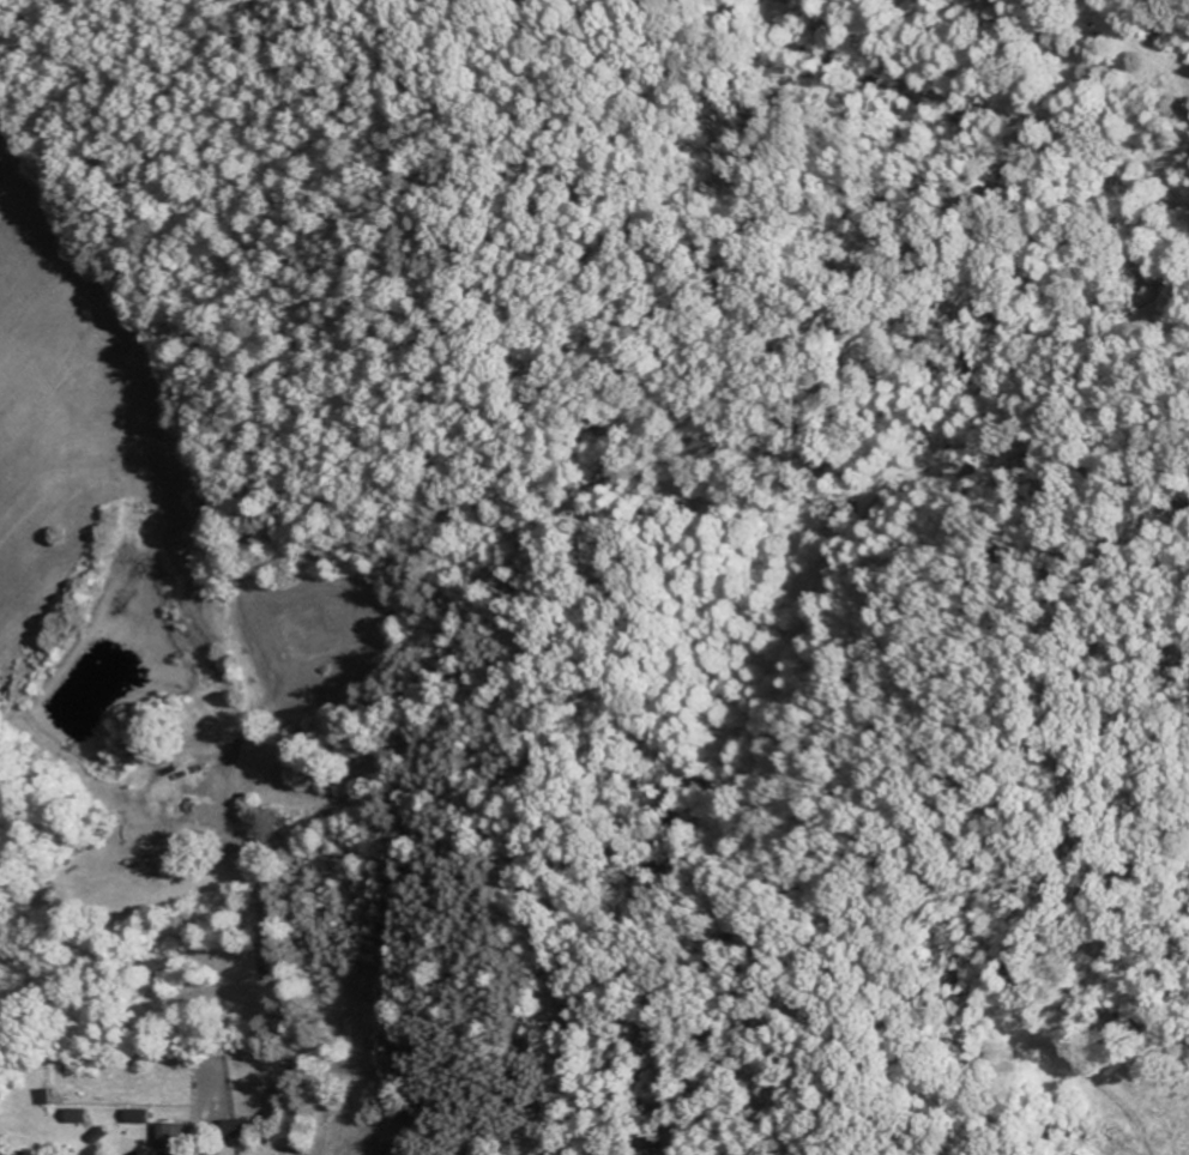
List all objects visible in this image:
building: (83, 1119)
building: (143, 1119)
building: (240, 1130)
building: (104, 1137)
building: (176, 1138)

